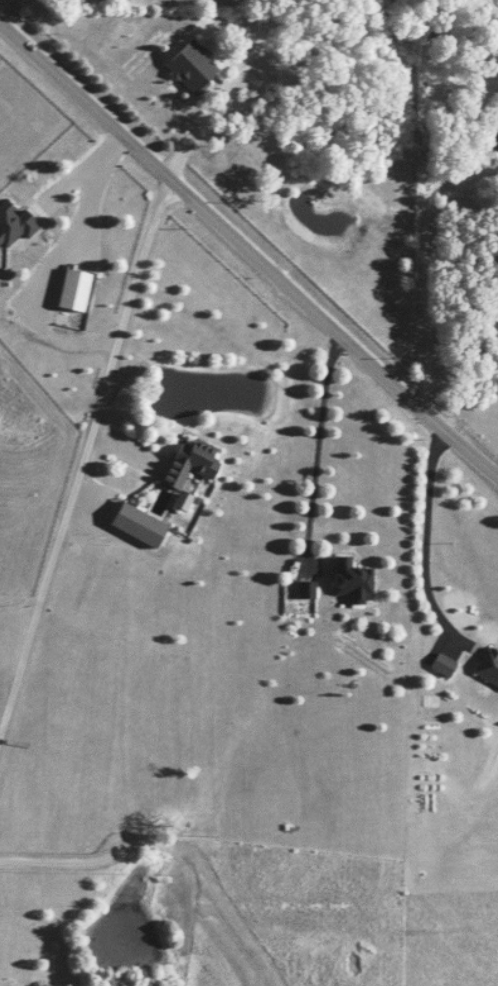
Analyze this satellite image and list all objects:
building: (185, 66)
road: (194, 129)
building: (490, 135)
road: (78, 172)
building: (13, 225)
road: (423, 225)
road: (247, 255)
building: (70, 290)
road: (316, 447)
road: (80, 454)
building: (186, 462)
building: (180, 502)
building: (134, 526)
road: (424, 538)
building: (348, 582)
building: (303, 590)
building: (439, 665)
building: (486, 667)
road: (165, 847)

